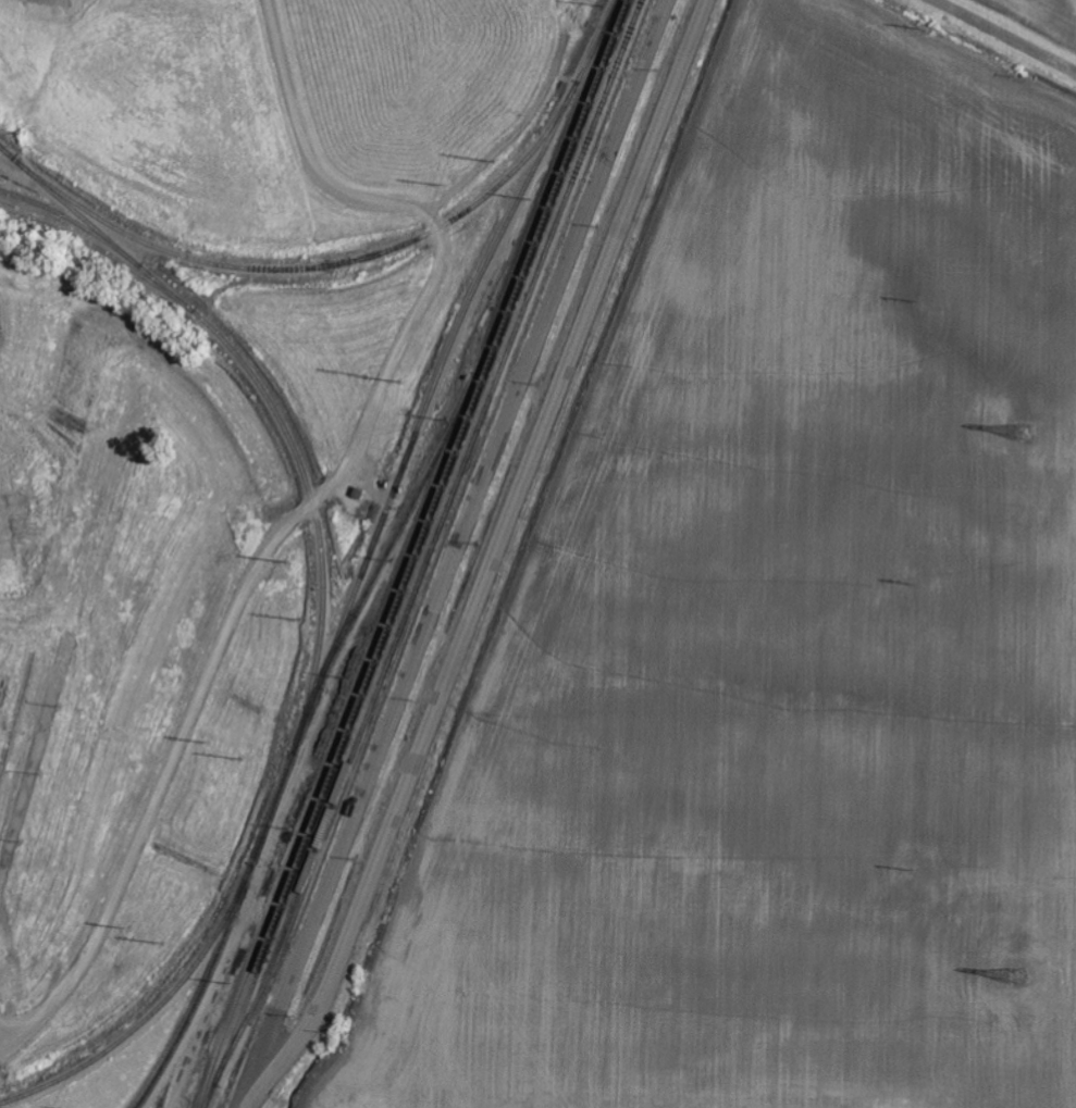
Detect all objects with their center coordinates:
road: (1004, 36)
railway: (540, 201)
railway: (115, 246)
railway: (309, 271)
railway: (267, 396)
road: (493, 561)
railway: (292, 750)
railway: (333, 754)
railway: (122, 1033)

